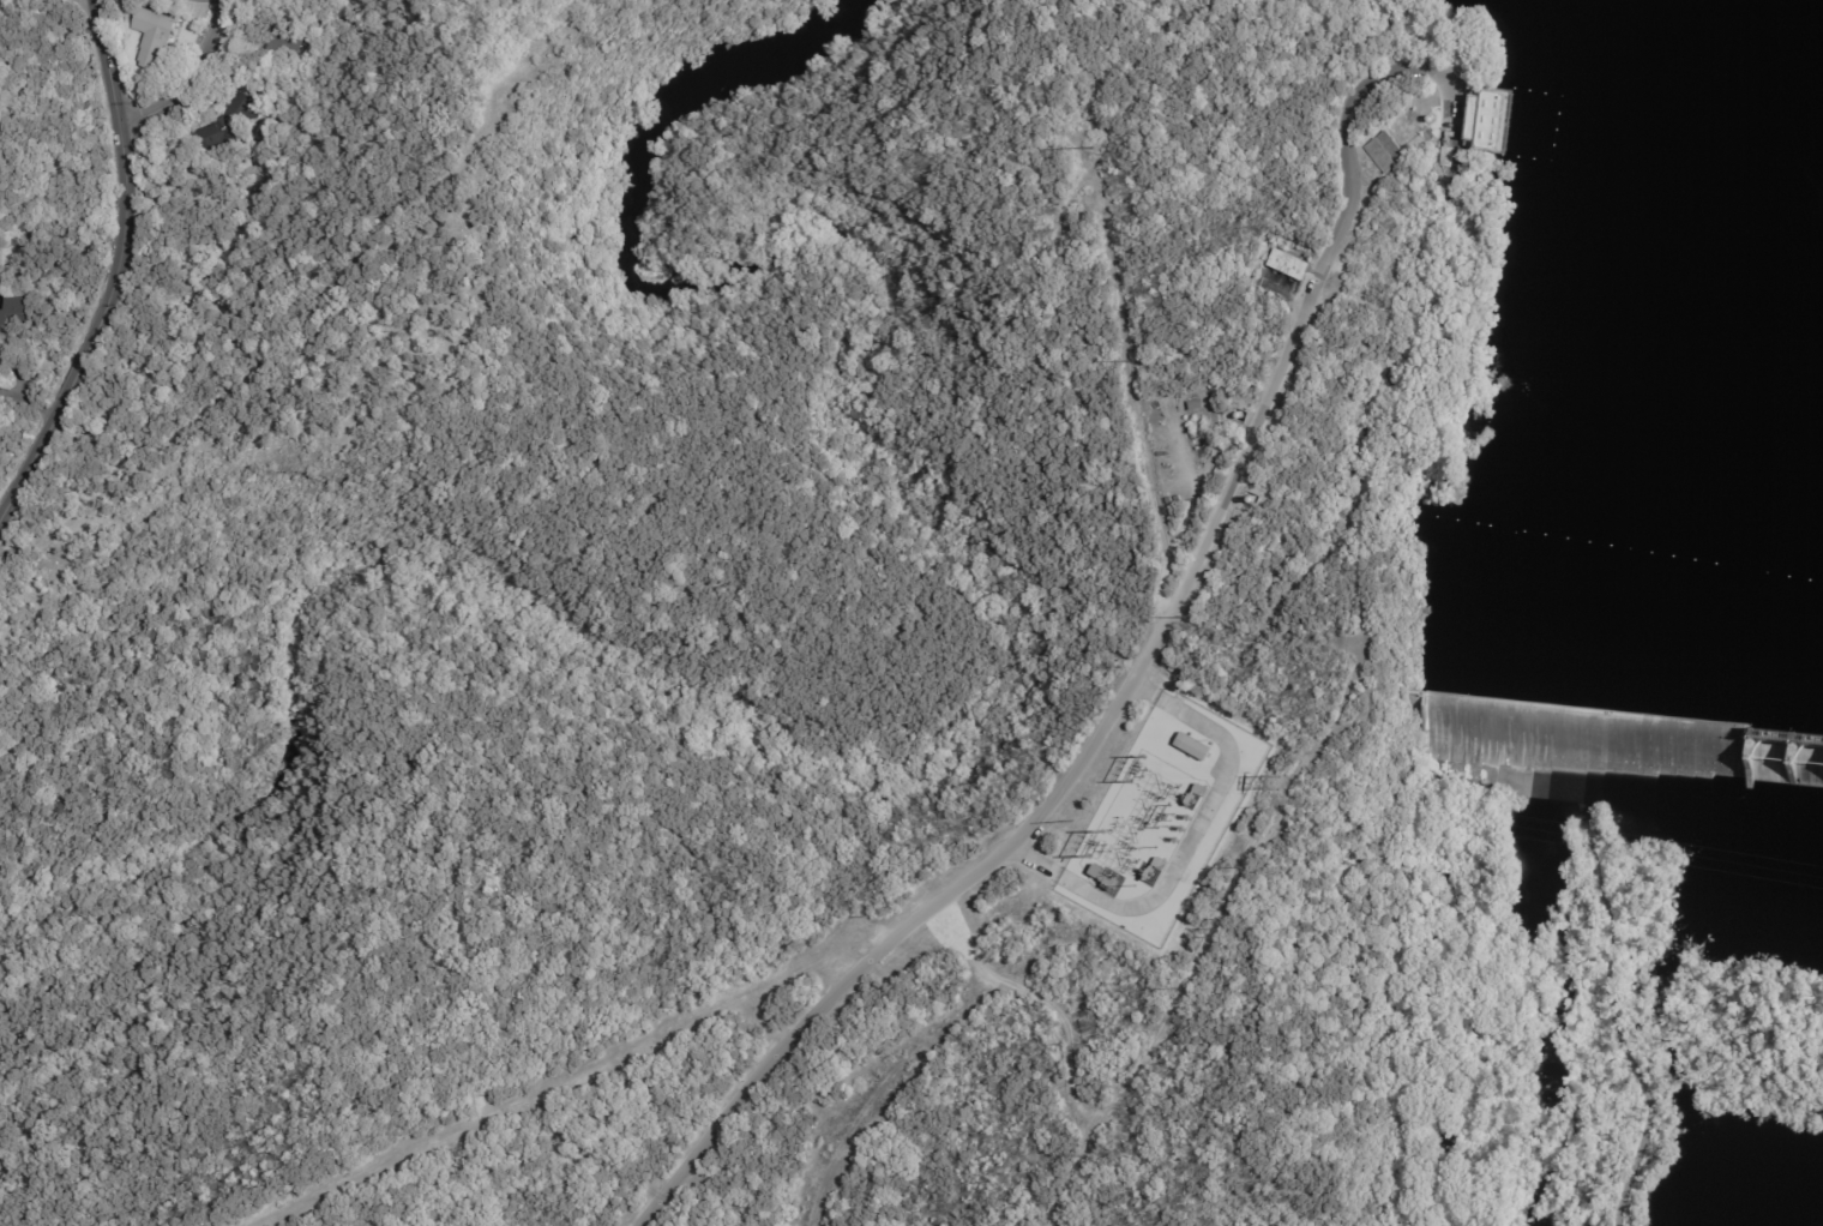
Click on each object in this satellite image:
building: (156, 37)
building: (294, 44)
road: (189, 77)
road: (112, 95)
building: (1488, 119)
building: (225, 127)
building: (1385, 154)
building: (1443, 157)
building: (1439, 180)
road: (125, 206)
building: (1288, 264)
building: (16, 311)
road: (70, 374)
building: (1191, 405)
road: (1148, 662)
building: (1171, 667)
dam: (1605, 741)
building: (1192, 746)
power tower: (1274, 787)
building: (1197, 791)
building: (1102, 815)
power substation: (1161, 817)
road: (1191, 846)
building: (1157, 864)
building: (1094, 871)
road: (1617, 1027)
park: (1618, 1035)
road: (573, 1071)

